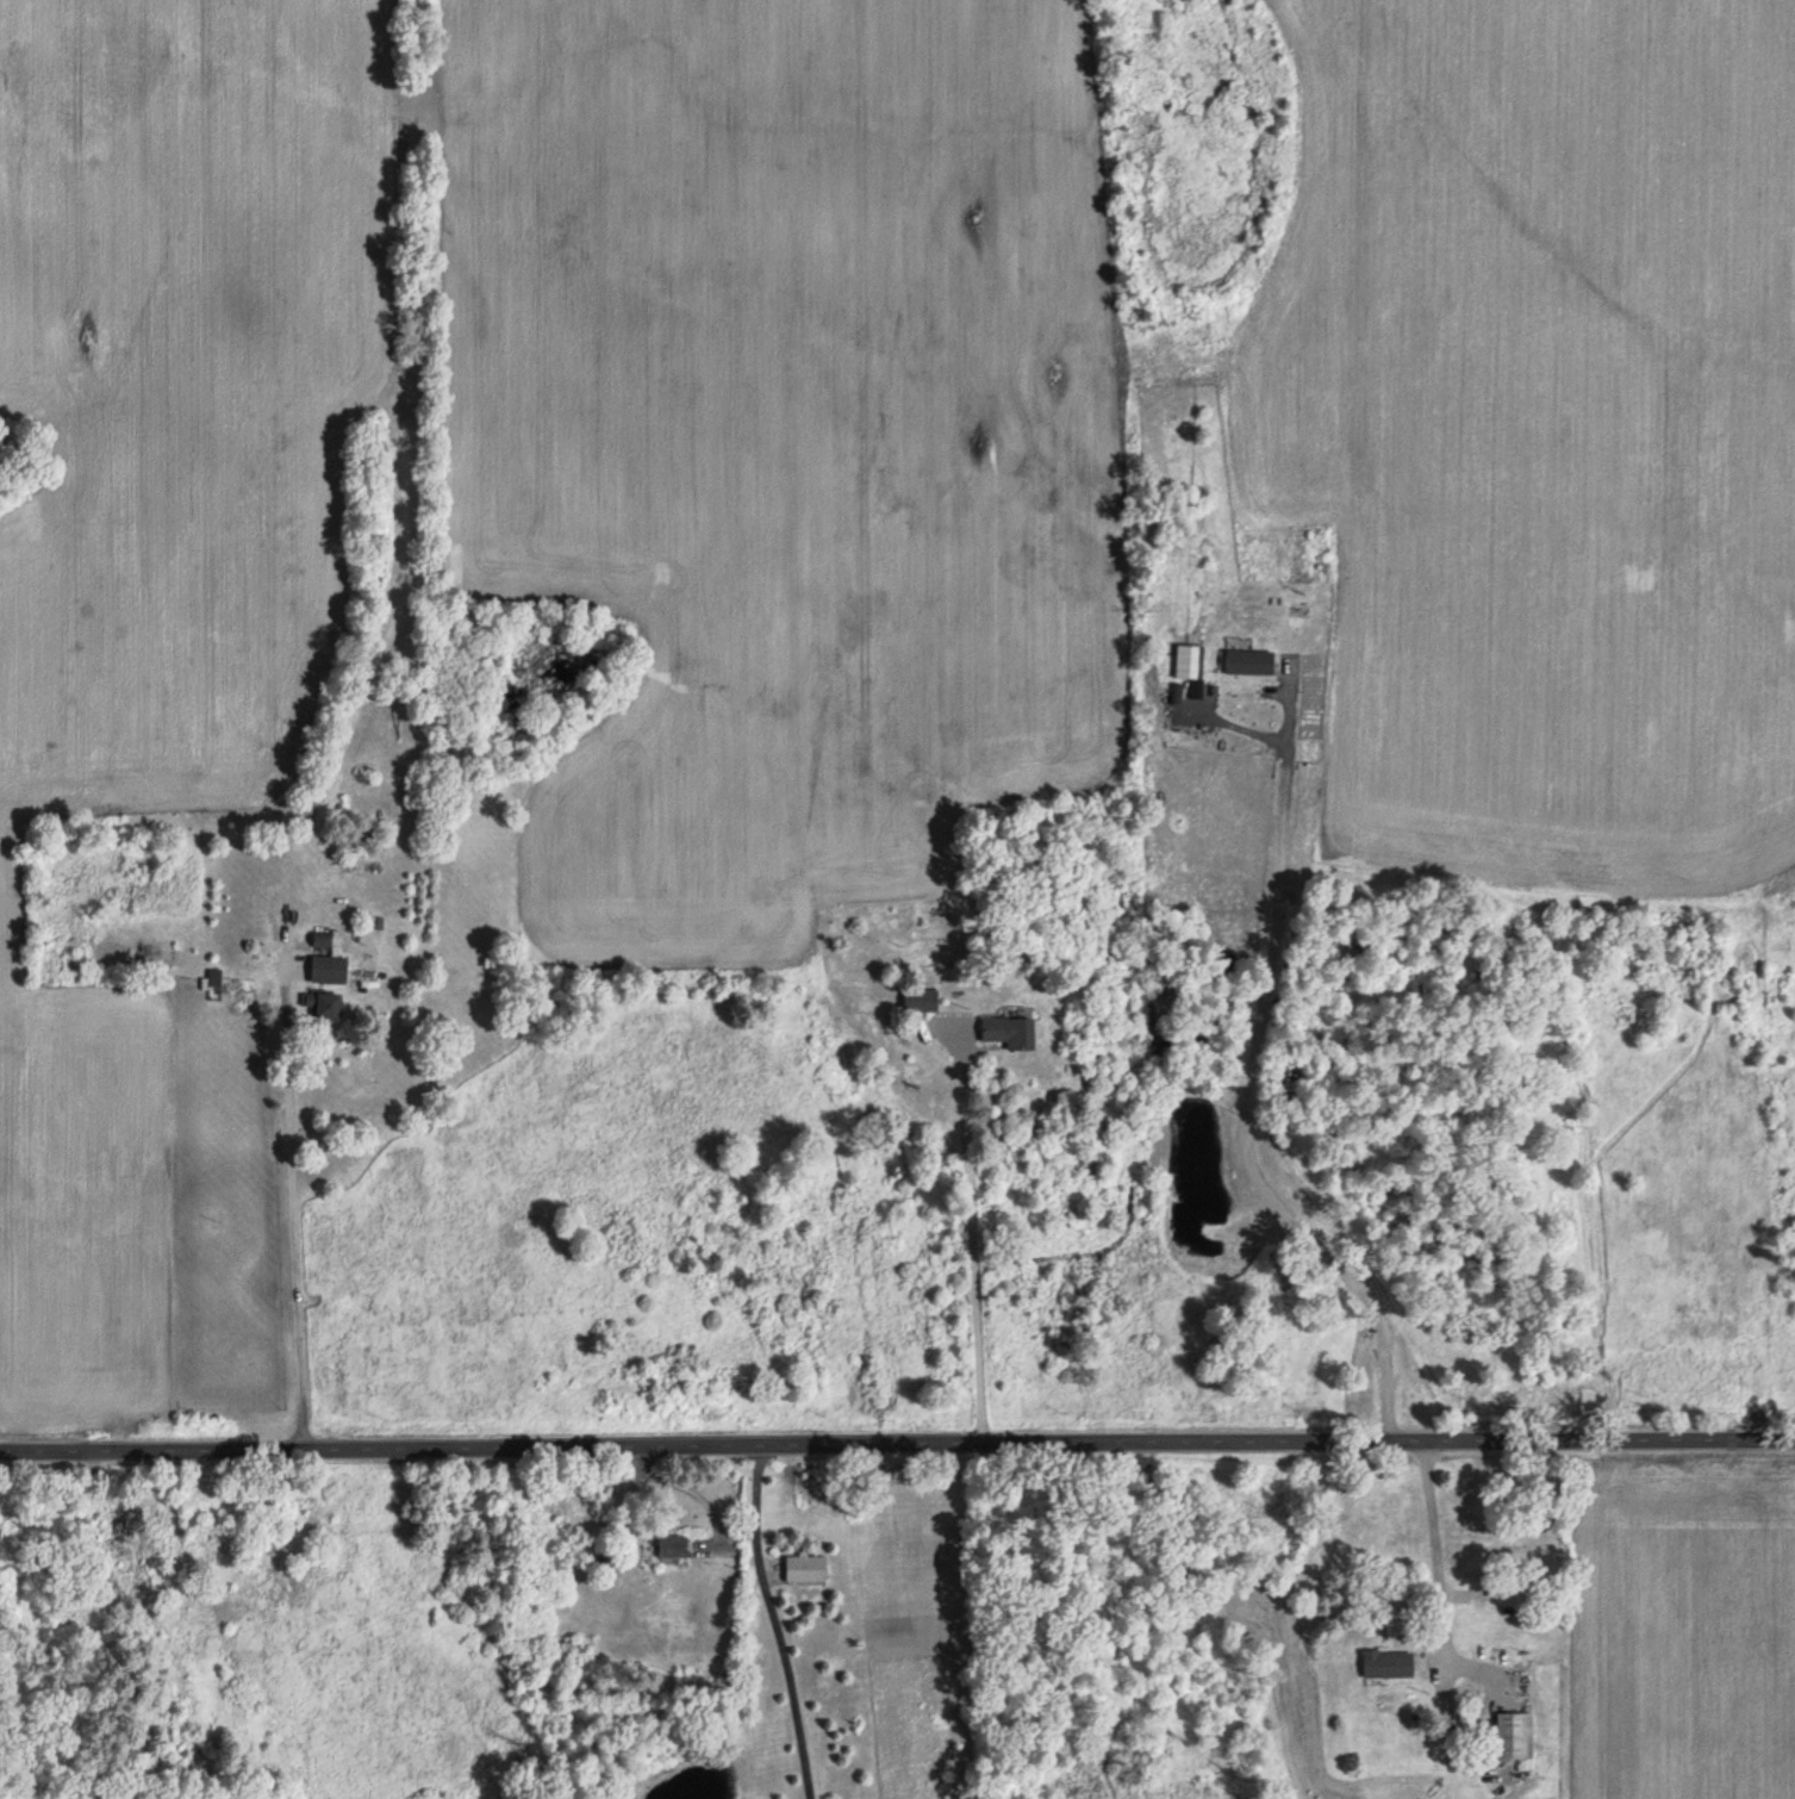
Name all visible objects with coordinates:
building: (1189, 662)
building: (1249, 665)
building: (330, 961)
building: (861, 972)
building: (216, 979)
building: (922, 1002)
building: (325, 1007)
building: (1011, 1034)
road: (1244, 1095)
road: (300, 1216)
road: (973, 1243)
road: (897, 1448)
road: (688, 1486)
building: (131, 1517)
building: (673, 1549)
road: (1434, 1556)
building: (1538, 1557)
building: (805, 1570)
road: (774, 1623)
building: (556, 1657)
building: (1388, 1666)
building: (1514, 1737)

